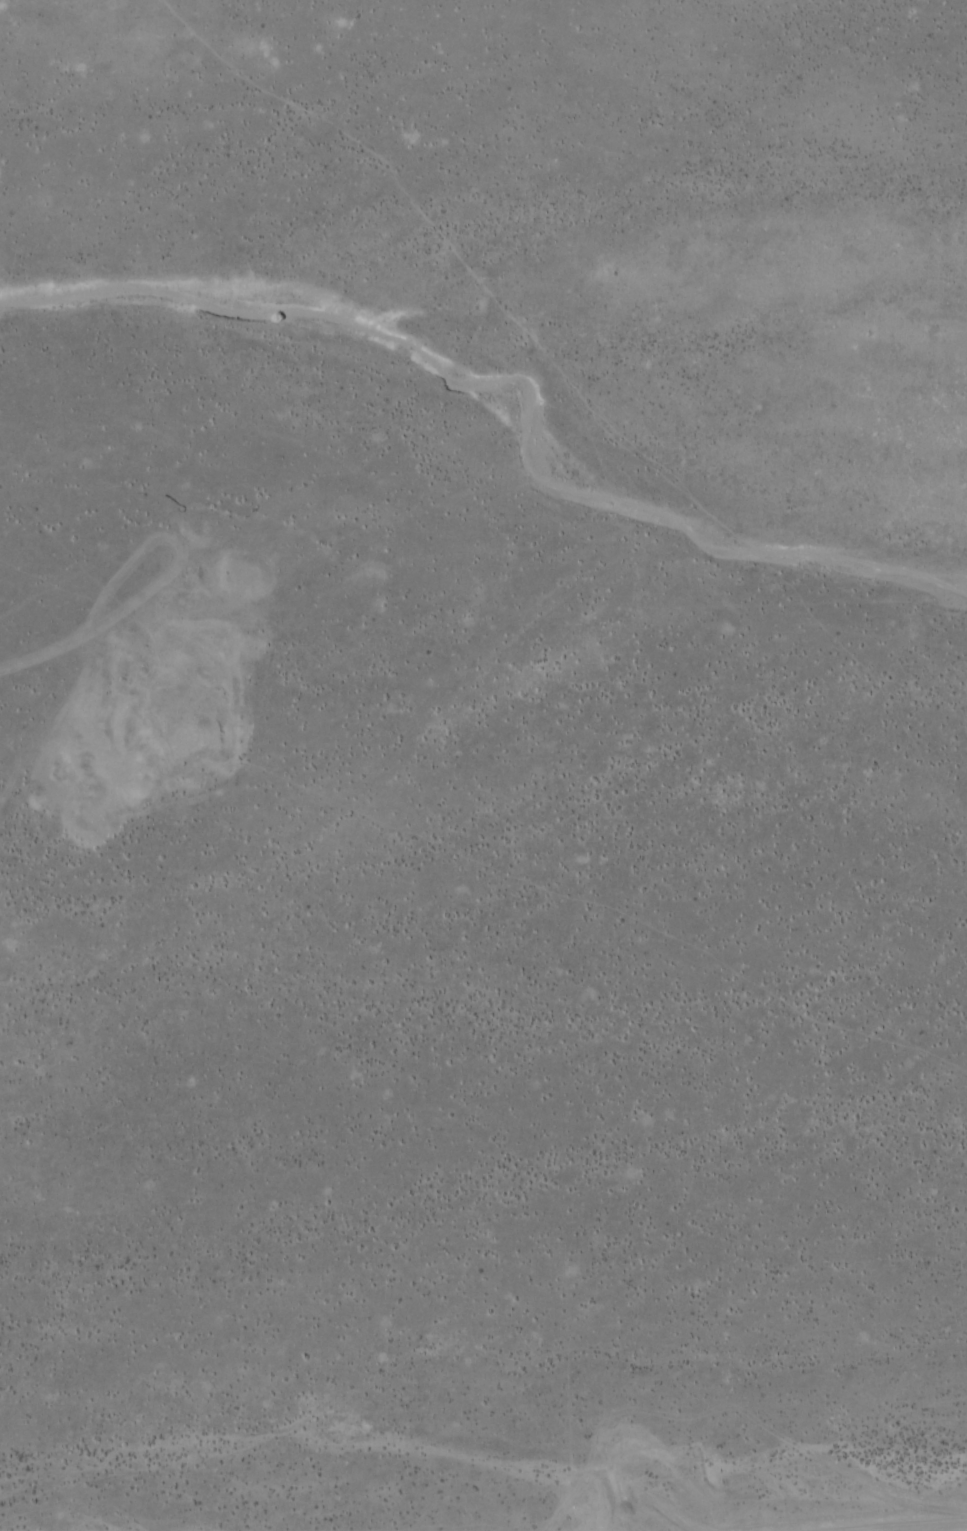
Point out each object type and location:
road: (946, 1528)

